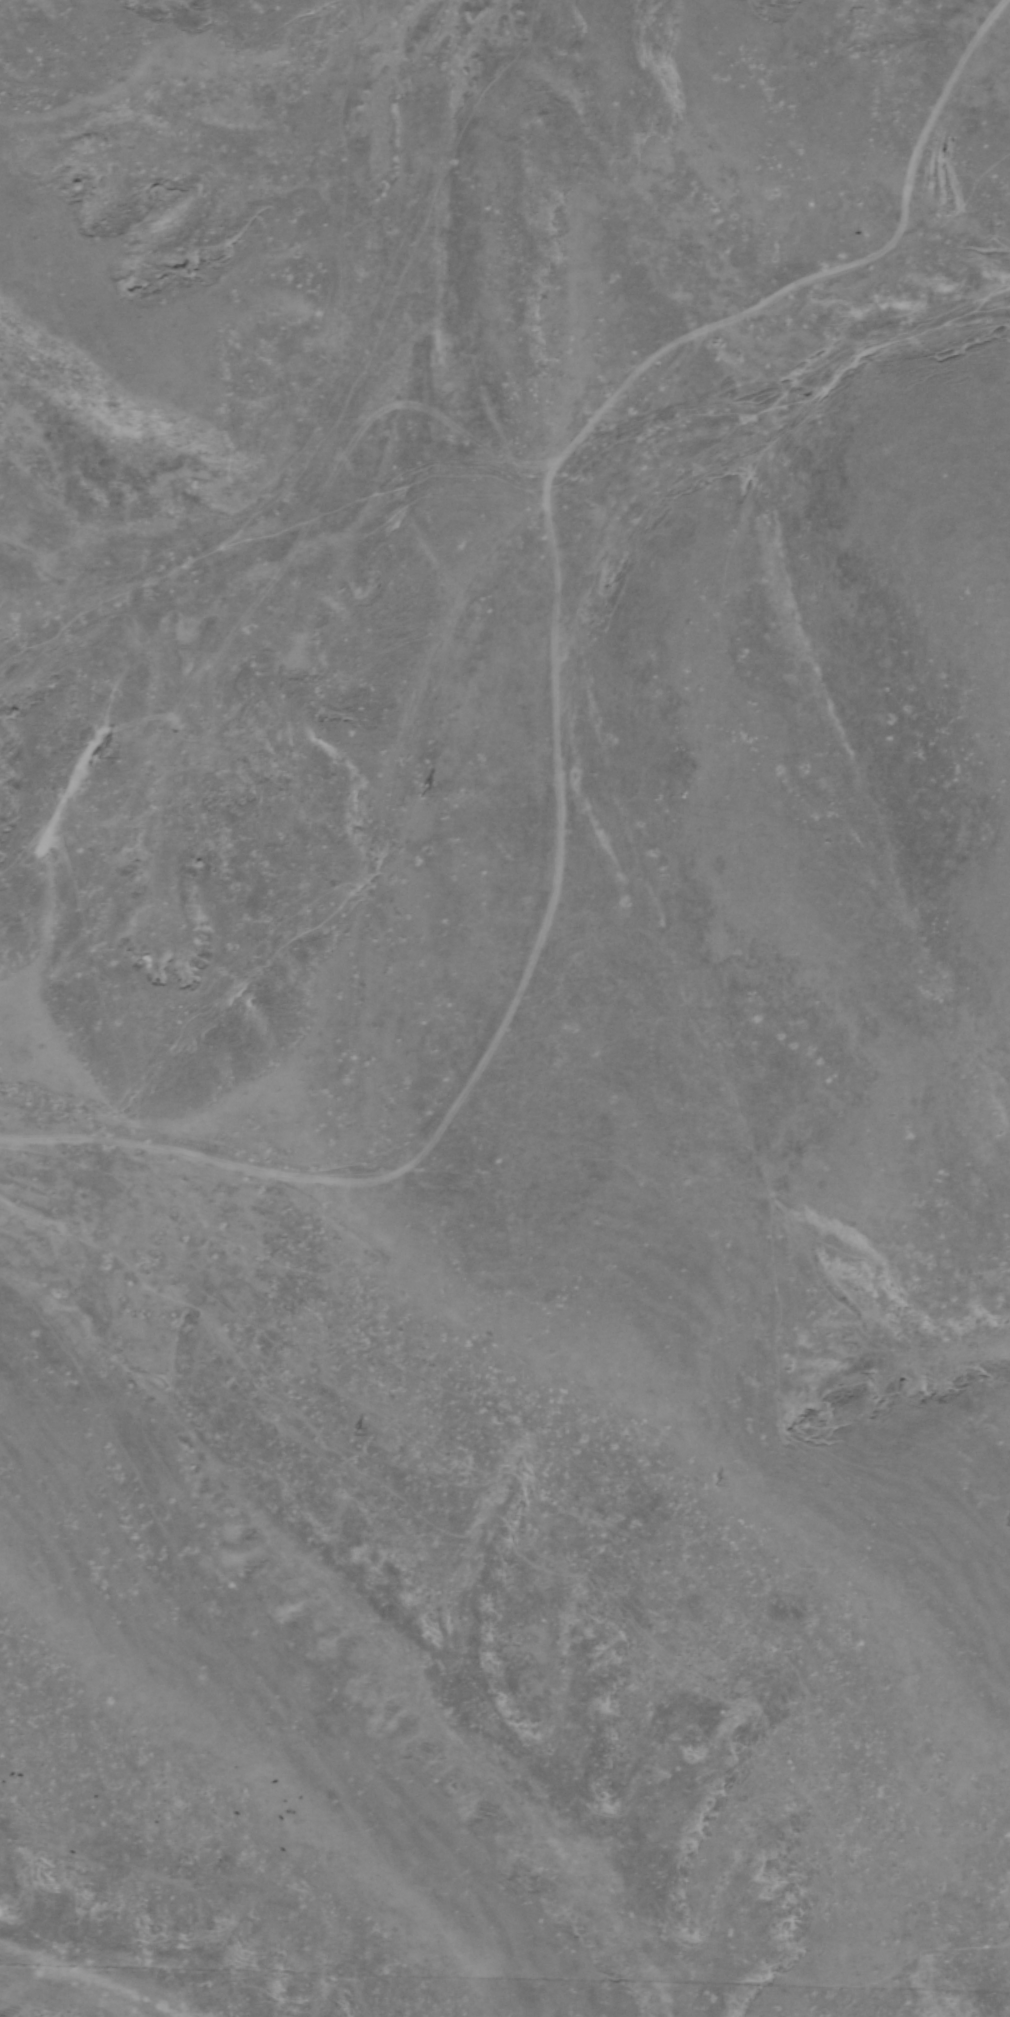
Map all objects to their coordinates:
power tower: (92, 753)
power tower: (420, 793)

